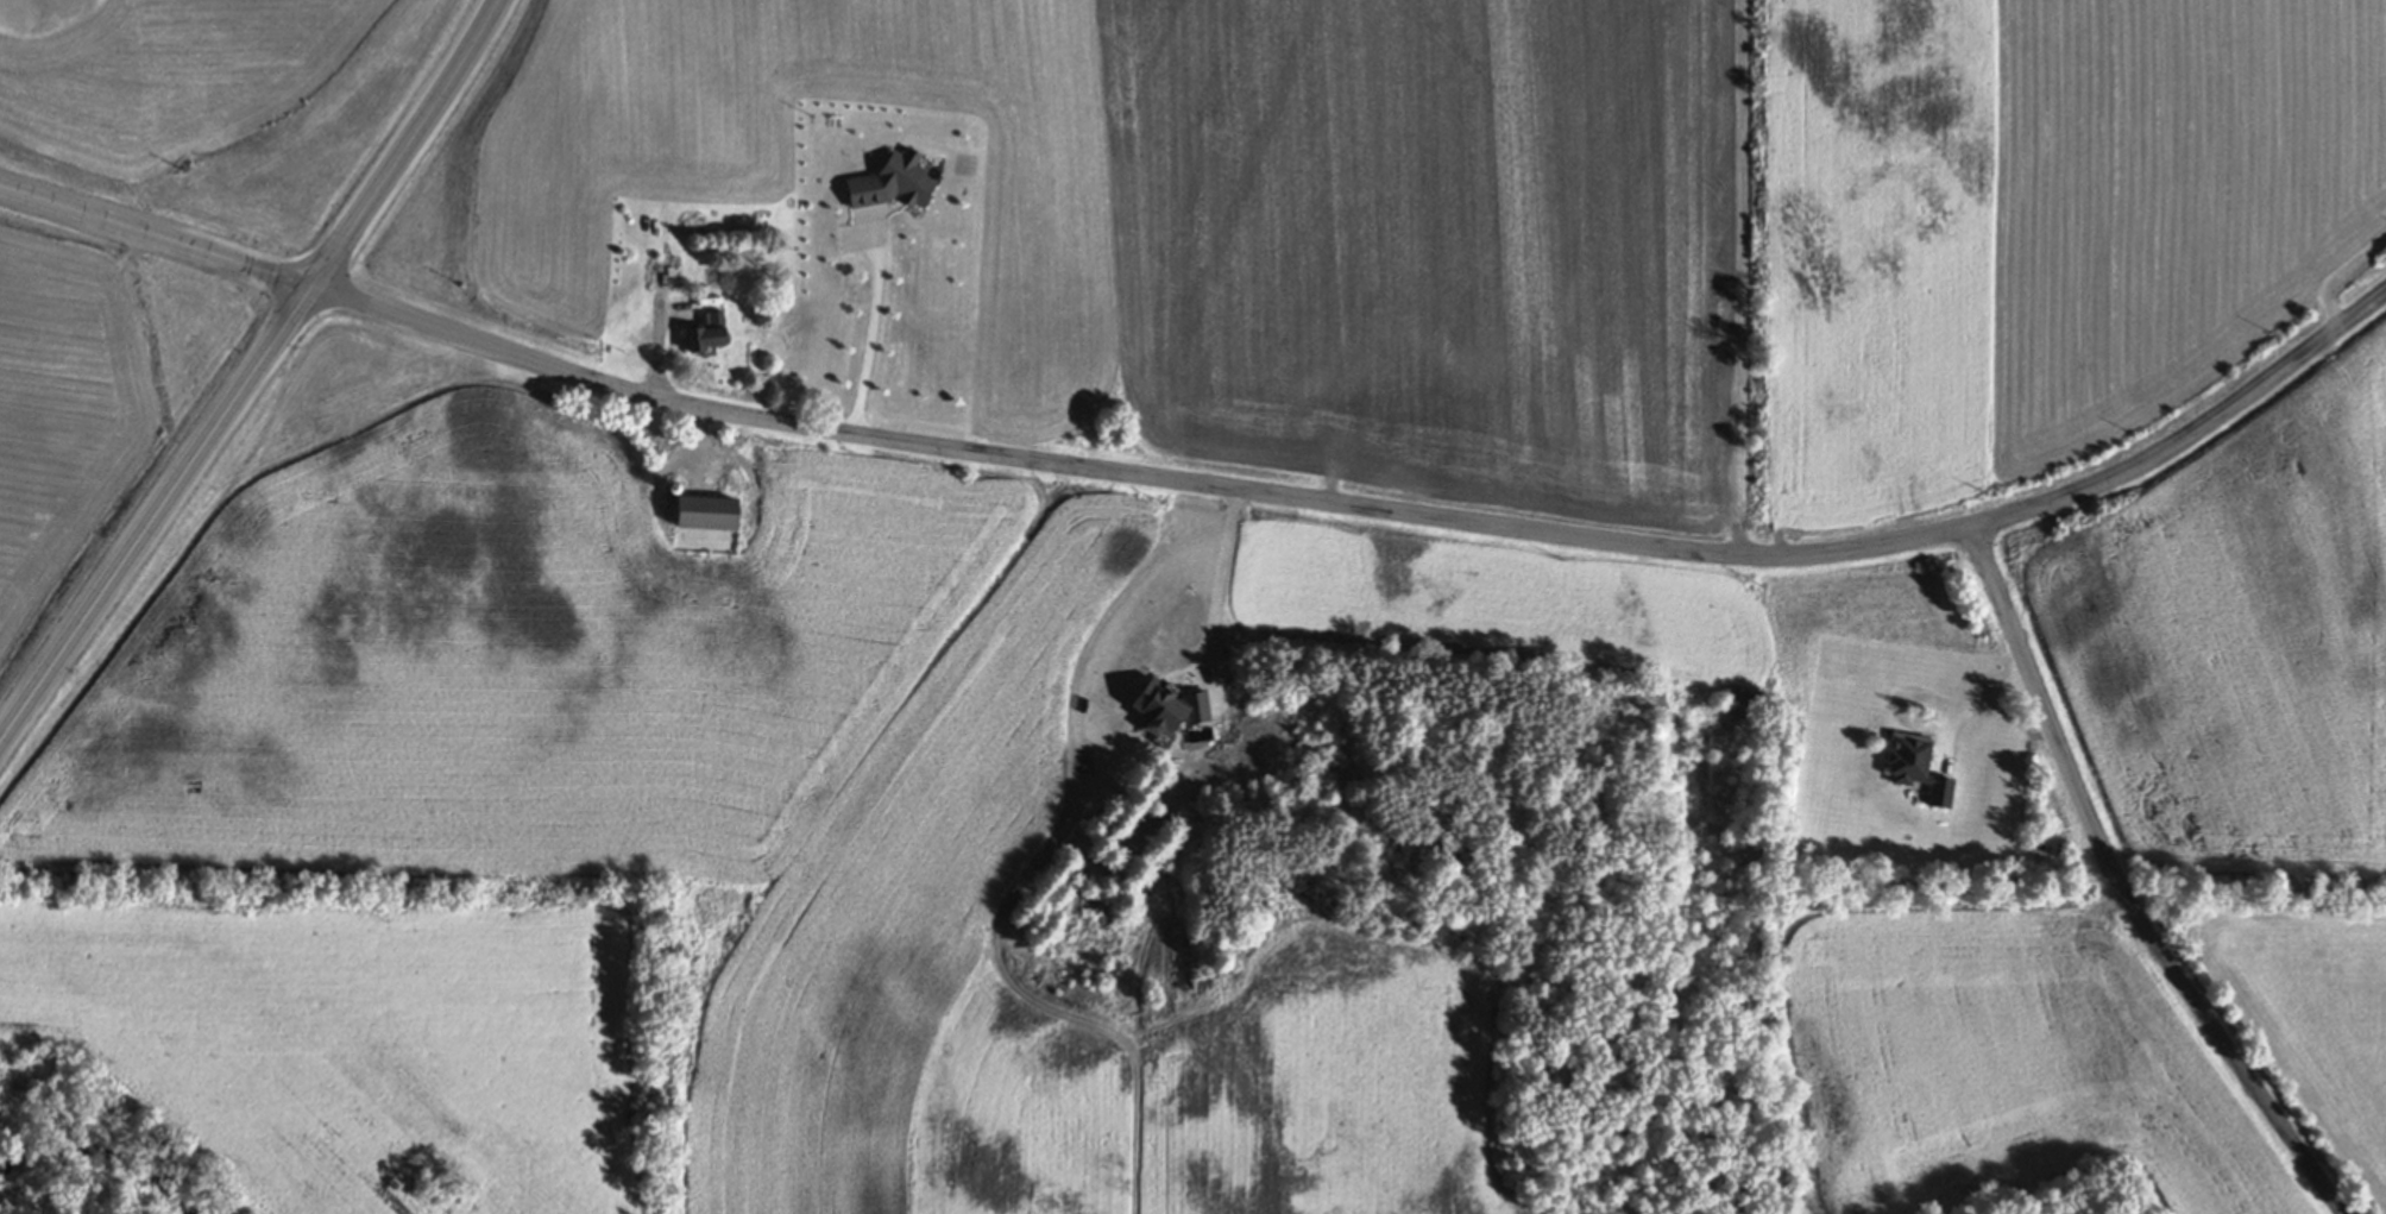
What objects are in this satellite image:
building: (899, 184)
road: (157, 239)
road: (877, 339)
building: (717, 340)
road: (466, 341)
building: (1305, 369)
road: (254, 376)
building: (714, 511)
road: (1531, 534)
road: (1225, 560)
road: (1973, 707)
building: (1913, 768)
road: (2122, 889)

